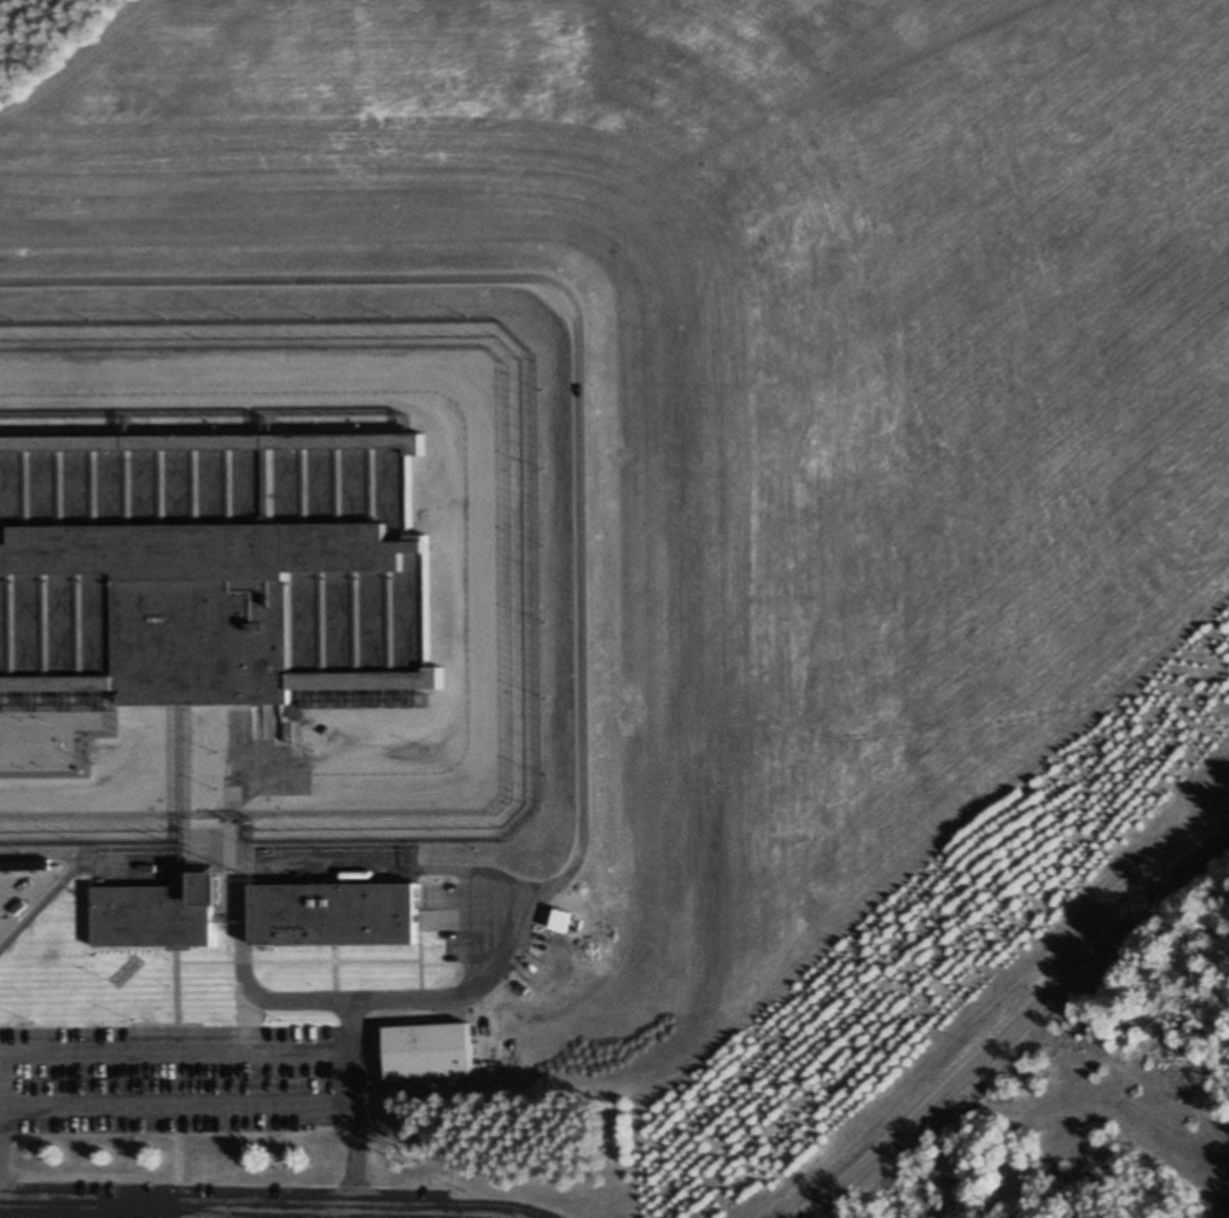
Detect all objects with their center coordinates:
road: (578, 541)
building: (214, 570)
road: (71, 873)
building: (152, 911)
building: (331, 913)
road: (239, 960)
road: (1014, 1027)
building: (424, 1049)
parking lot: (171, 1080)
parking lot: (227, 1201)
road: (257, 1208)

